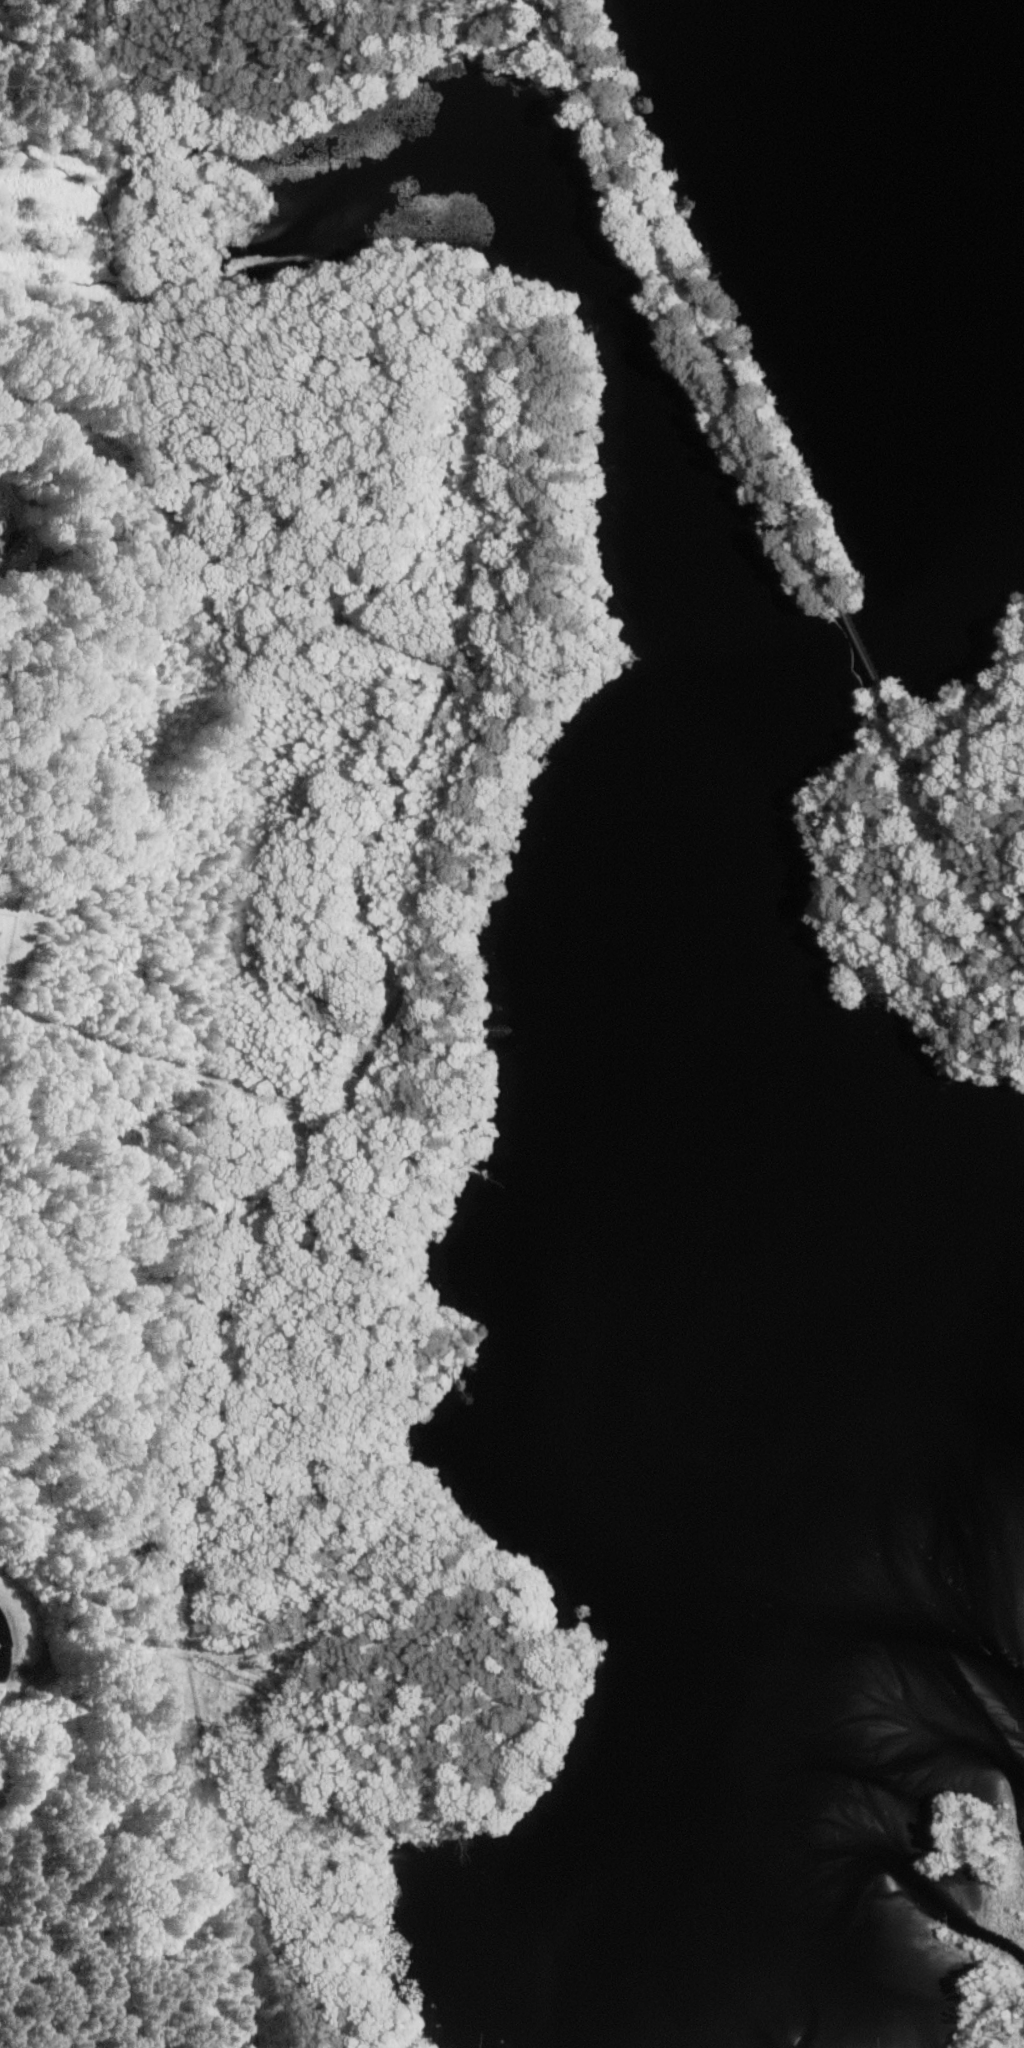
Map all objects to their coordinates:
road: (200, 97)
road: (693, 303)
road: (861, 647)
road: (947, 814)
park: (942, 874)
road: (440, 990)
river: (845, 1495)
road: (210, 1818)
road: (285, 1856)

